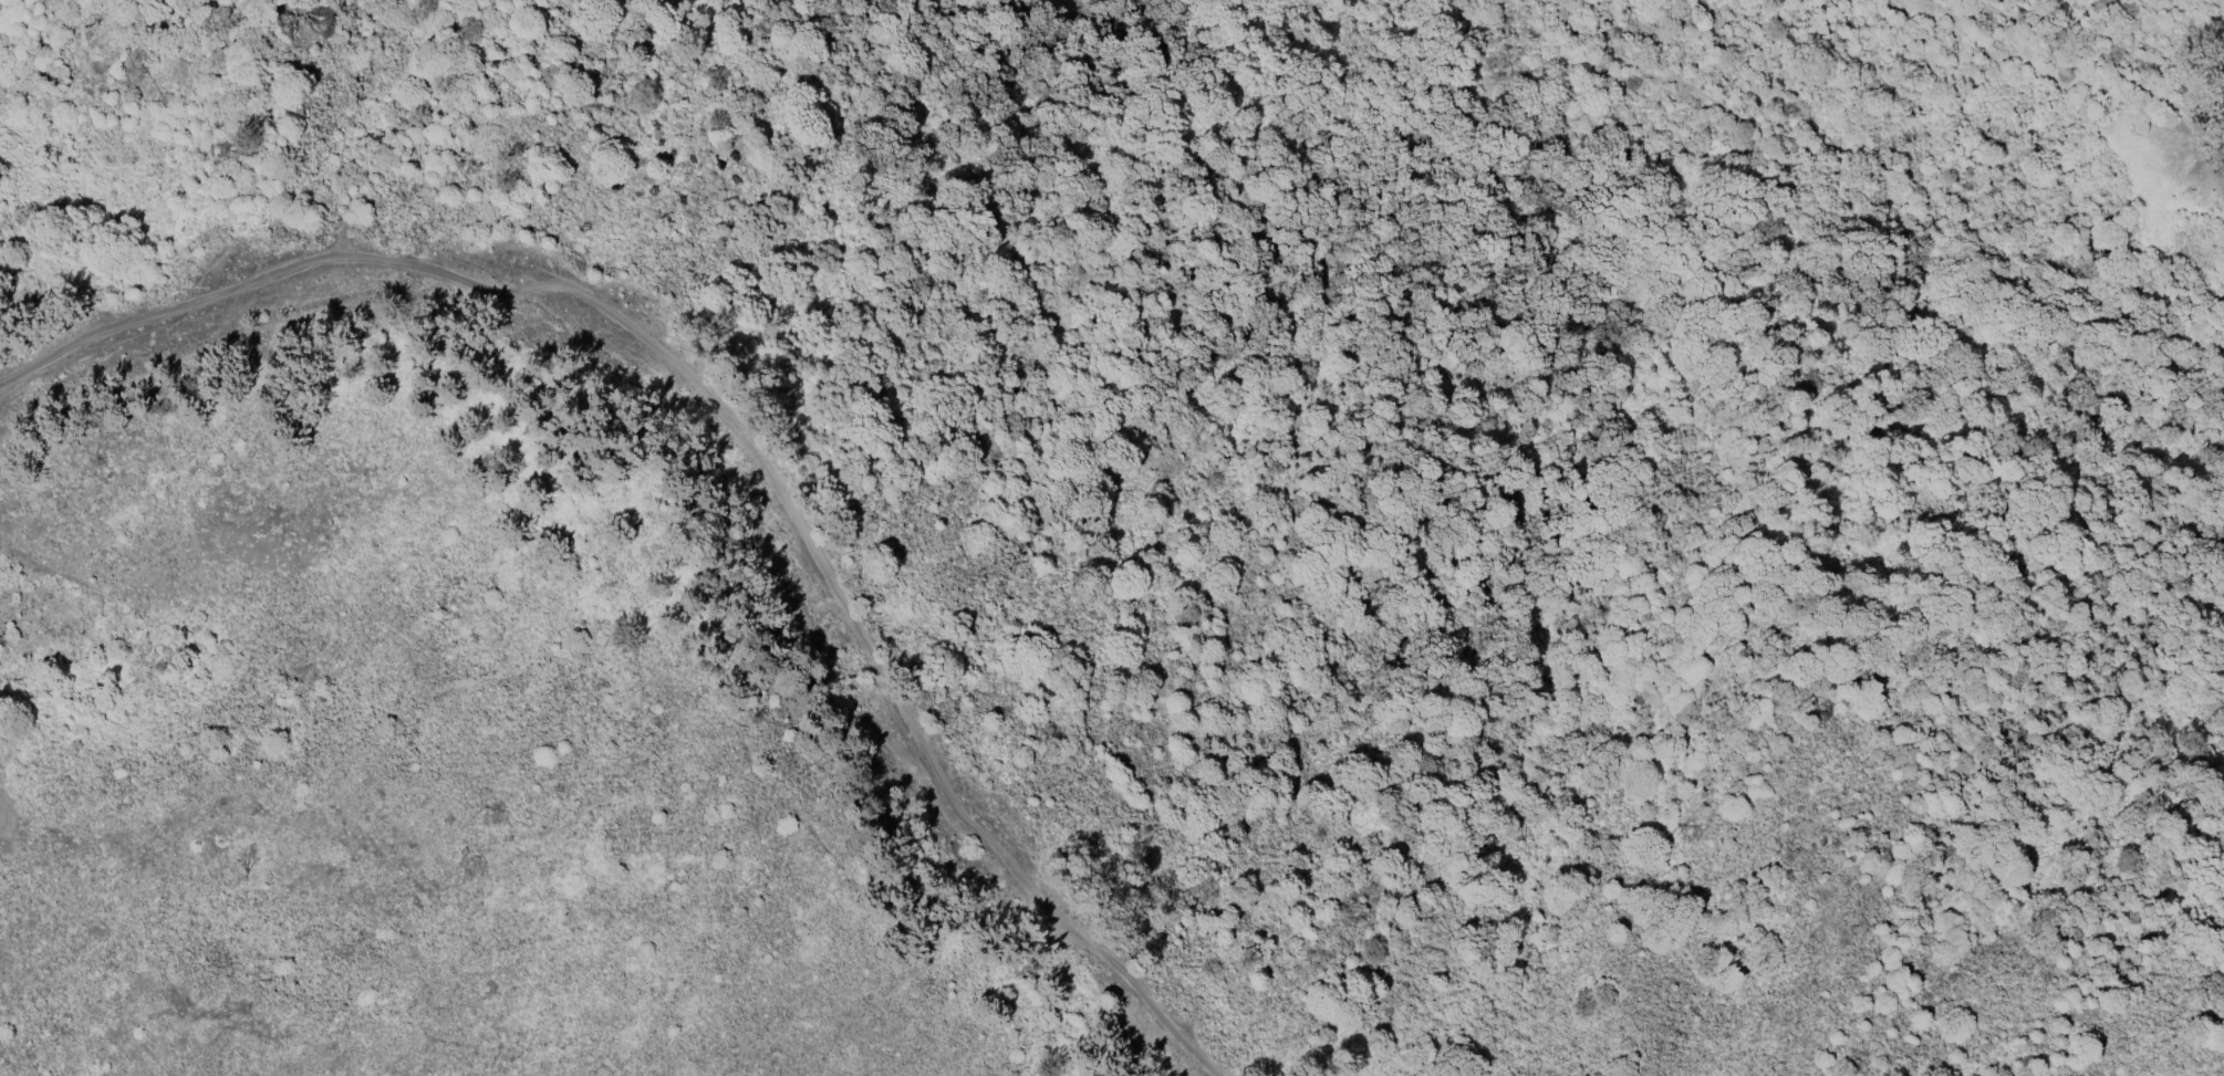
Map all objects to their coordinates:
road: (2120, 74)
road: (1869, 195)
power tower: (2154, 238)
road: (732, 427)

